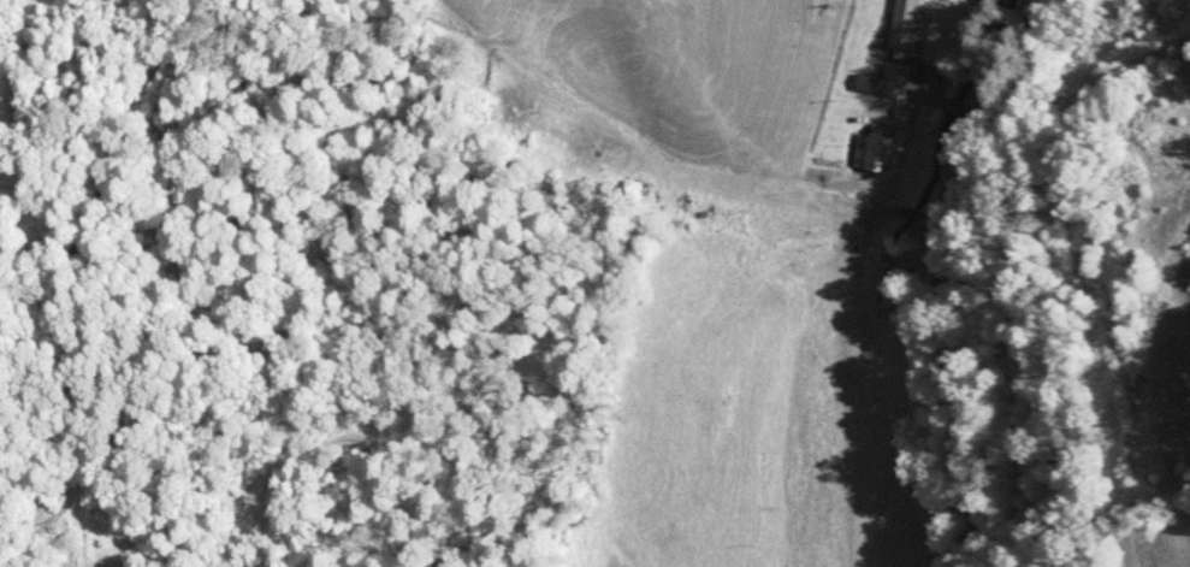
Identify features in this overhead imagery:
building: (910, 24)
building: (896, 81)
building: (876, 150)
road: (1023, 282)

